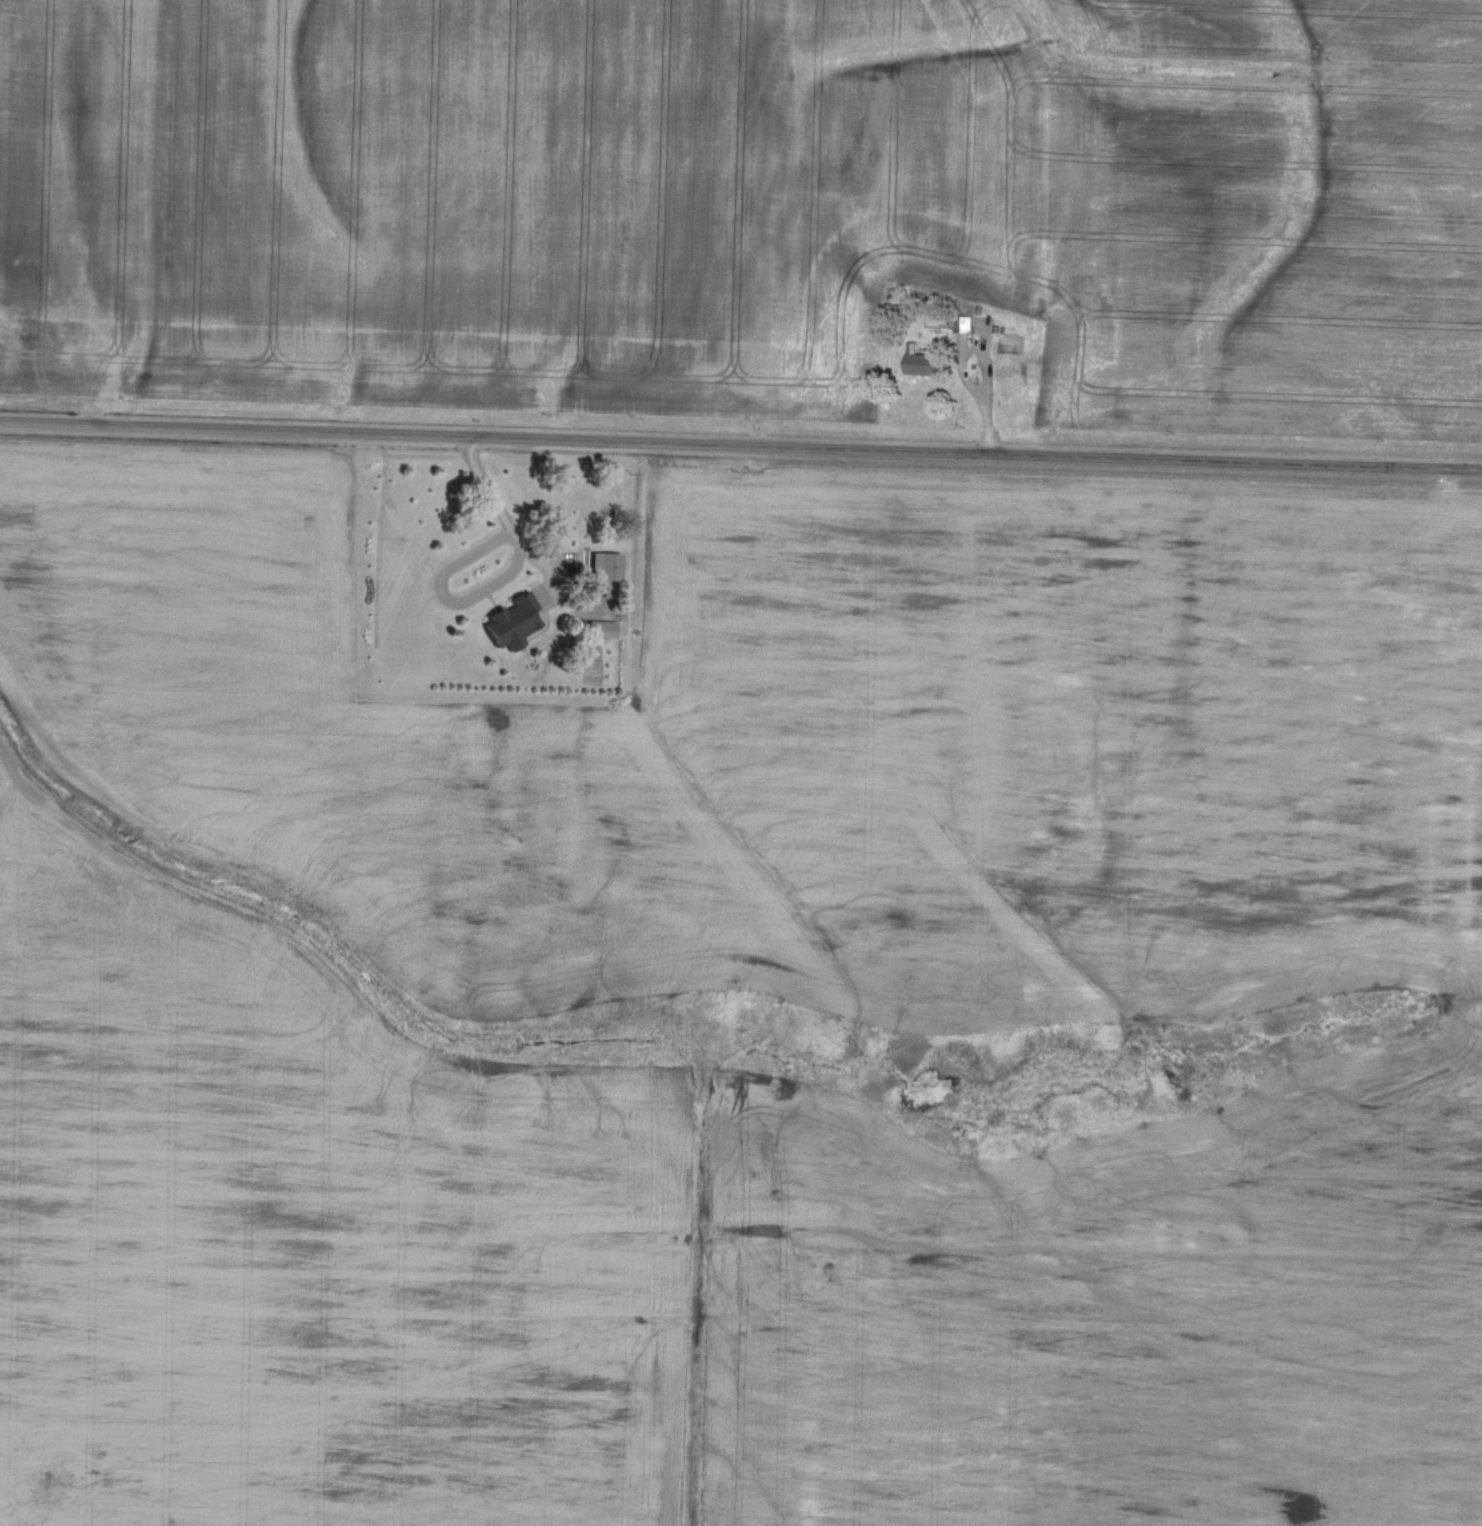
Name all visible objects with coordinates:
building: (965, 321)
building: (925, 361)
road: (988, 364)
road: (991, 428)
road: (740, 445)
road: (519, 543)
building: (605, 563)
building: (512, 619)
building: (602, 626)

